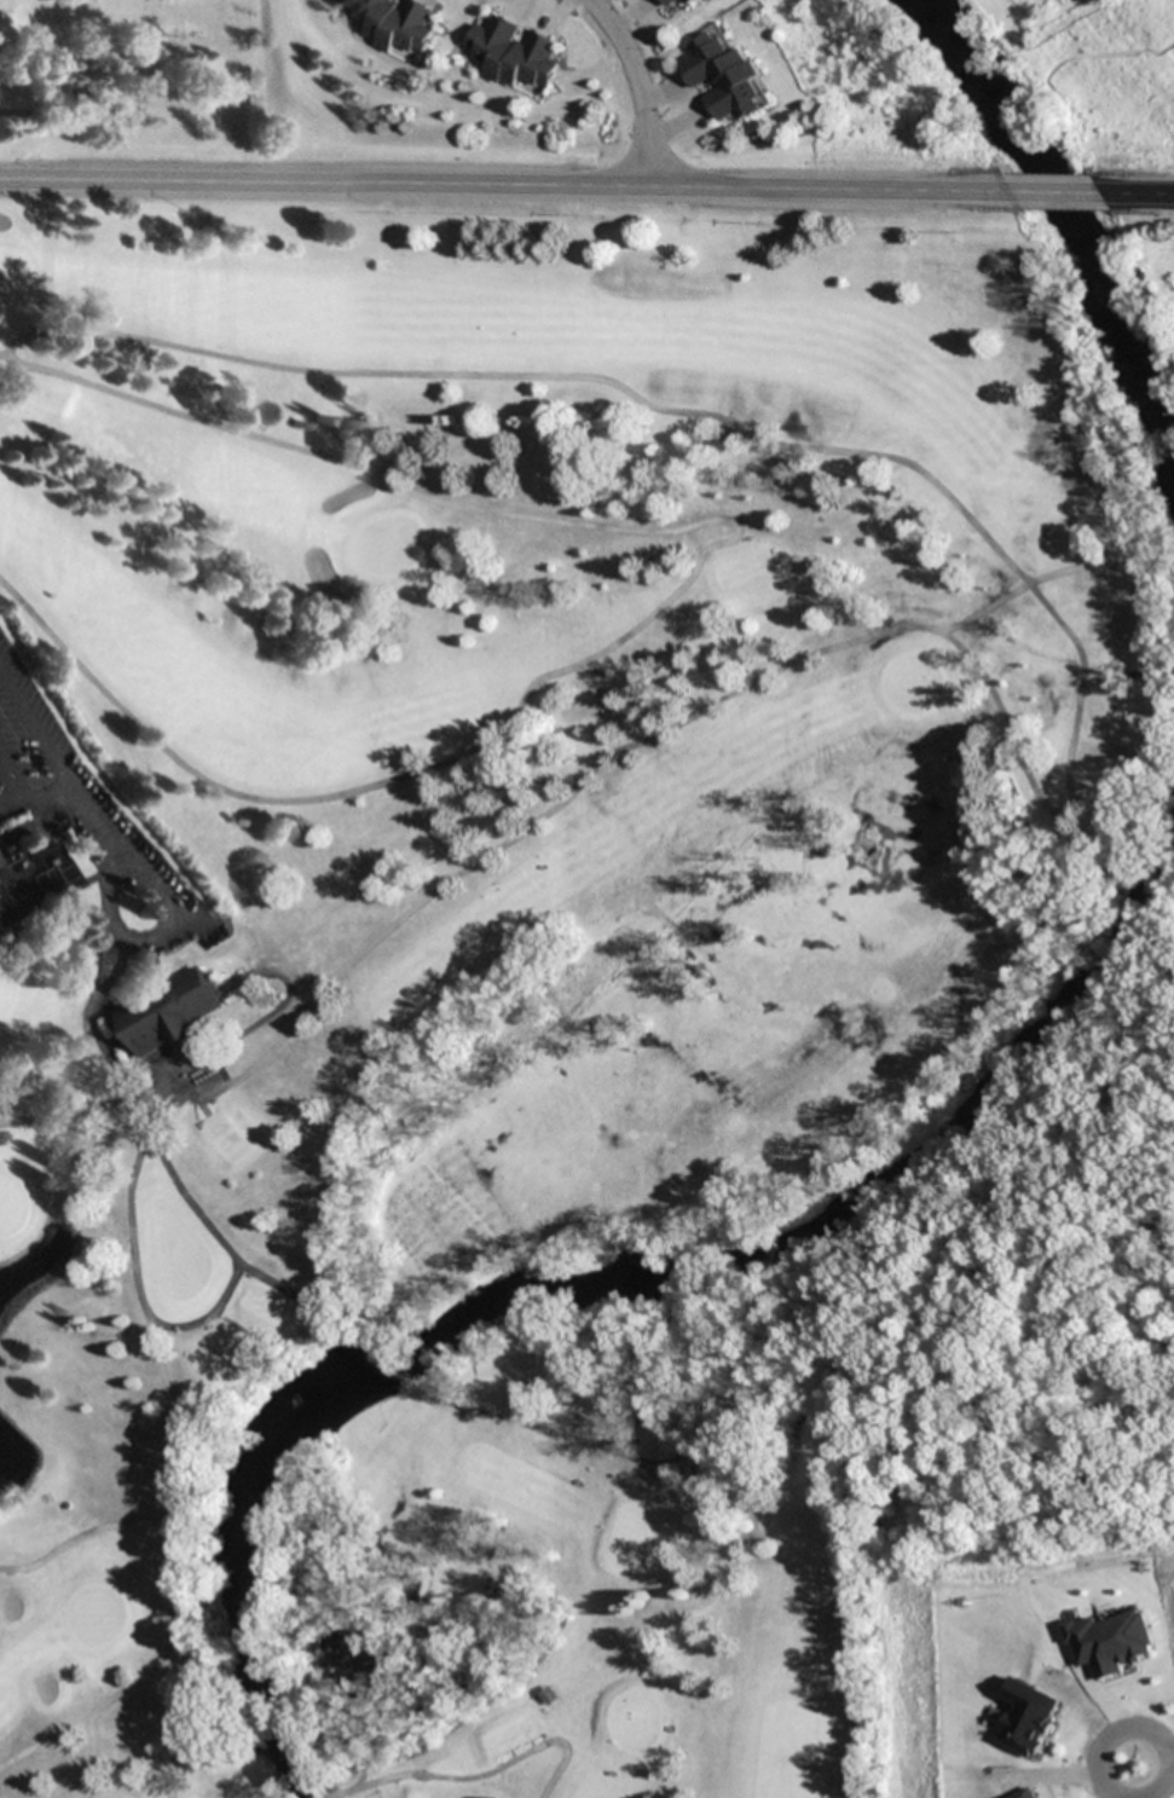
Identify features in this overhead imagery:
building: (669, 2)
building: (689, 2)
building: (393, 23)
building: (513, 53)
building: (724, 76)
park: (128, 83)
road: (636, 86)
road: (507, 184)
road: (1057, 193)
road: (1137, 193)
river: (1059, 224)
road: (5, 353)
road: (375, 372)
road: (1041, 578)
road: (22, 782)
building: (30, 878)
park: (508, 953)
road: (92, 1010)
building: (166, 1011)
road: (65, 1116)
river: (601, 1289)
road: (203, 1318)
road: (601, 1449)
road: (178, 1455)
road: (678, 1487)
road: (85, 1531)
building: (1111, 1641)
building: (548, 1695)
road: (100, 1701)
building: (1026, 1717)
road: (1128, 1728)
road: (1169, 1757)
road: (474, 1774)

